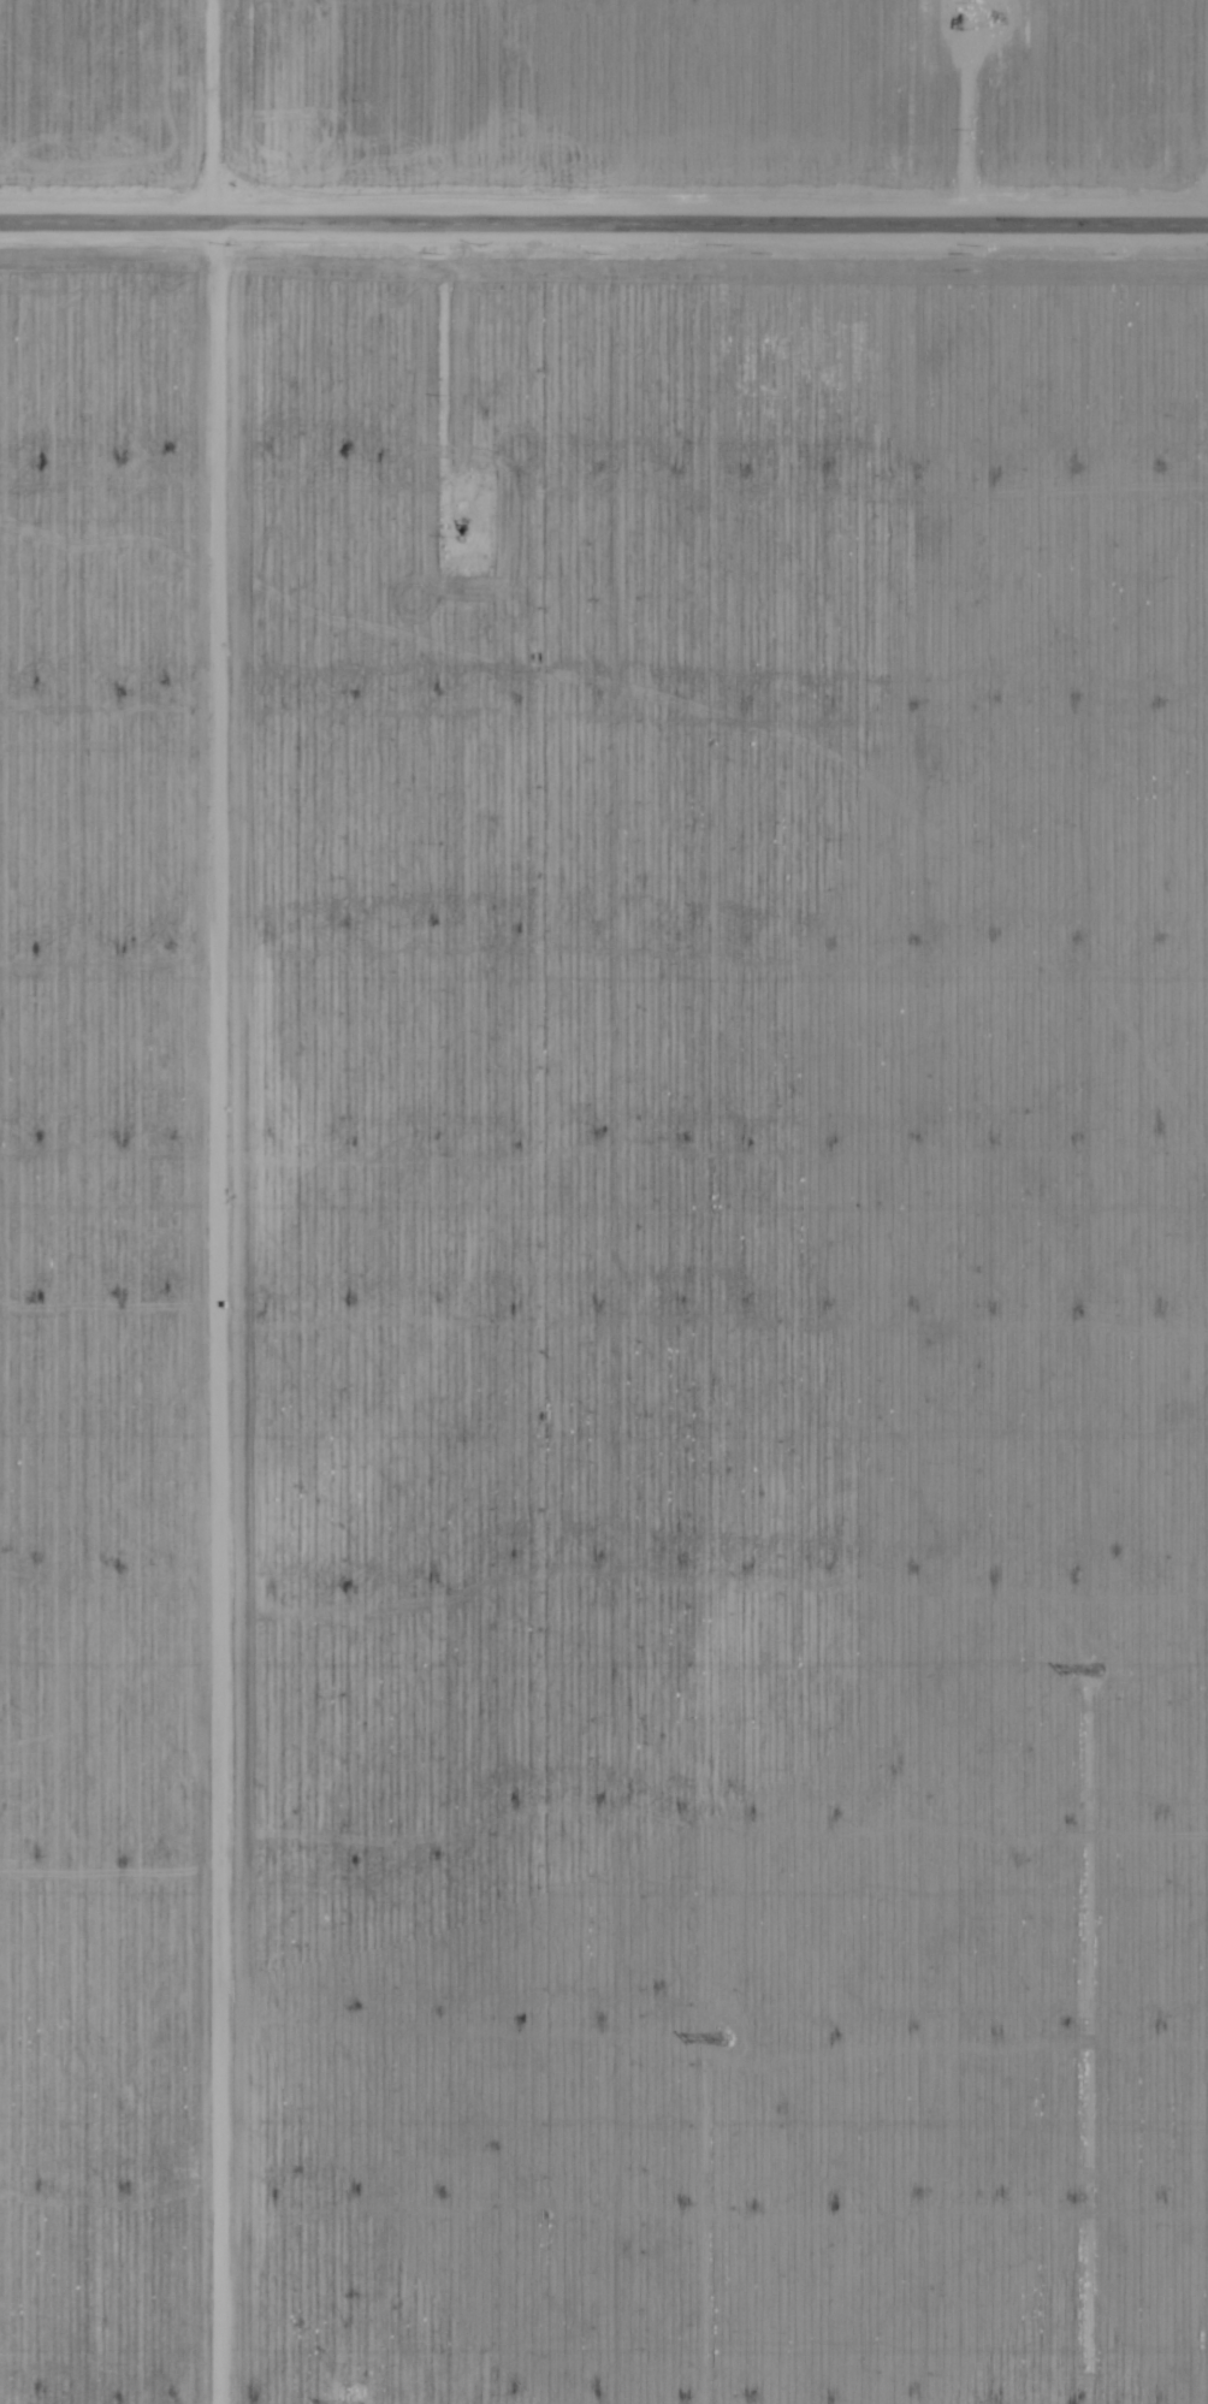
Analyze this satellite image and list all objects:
road: (604, 223)
crop: (604, 1202)
power tower: (1100, 1666)
power tower: (723, 2037)
power tower: (347, 2402)

